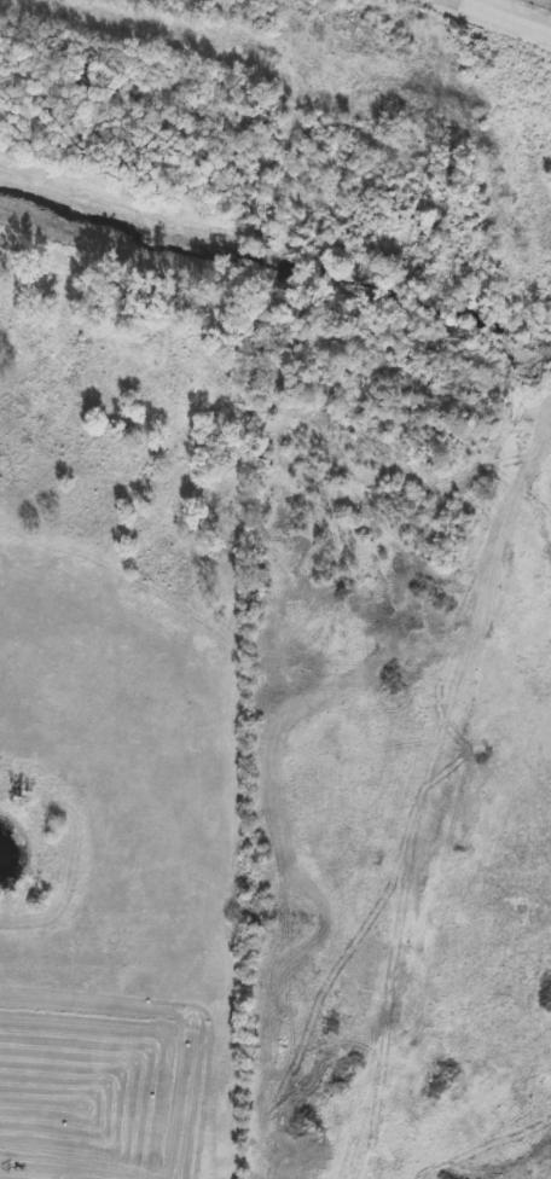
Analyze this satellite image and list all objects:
road: (512, 13)

